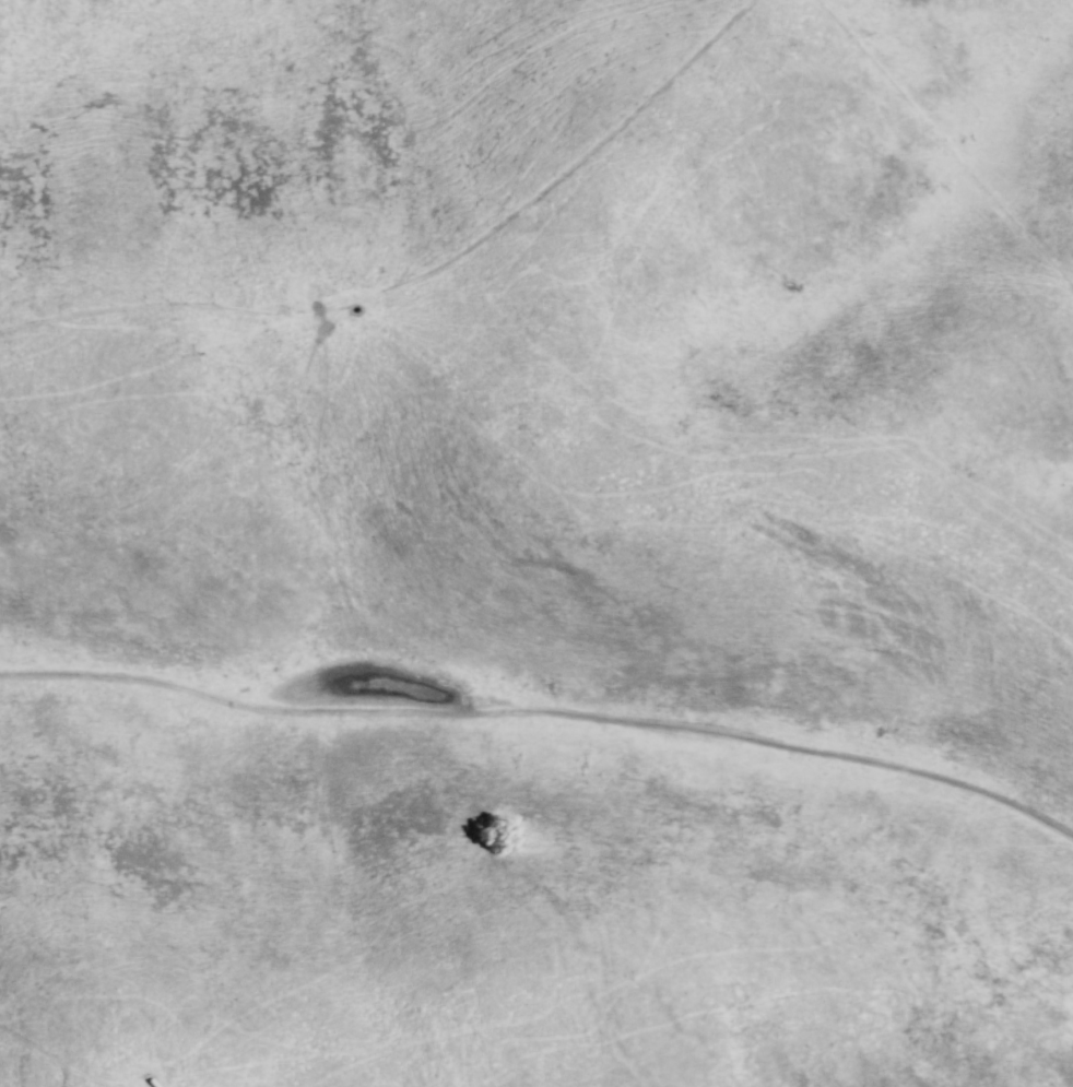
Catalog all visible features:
road: (543, 723)

